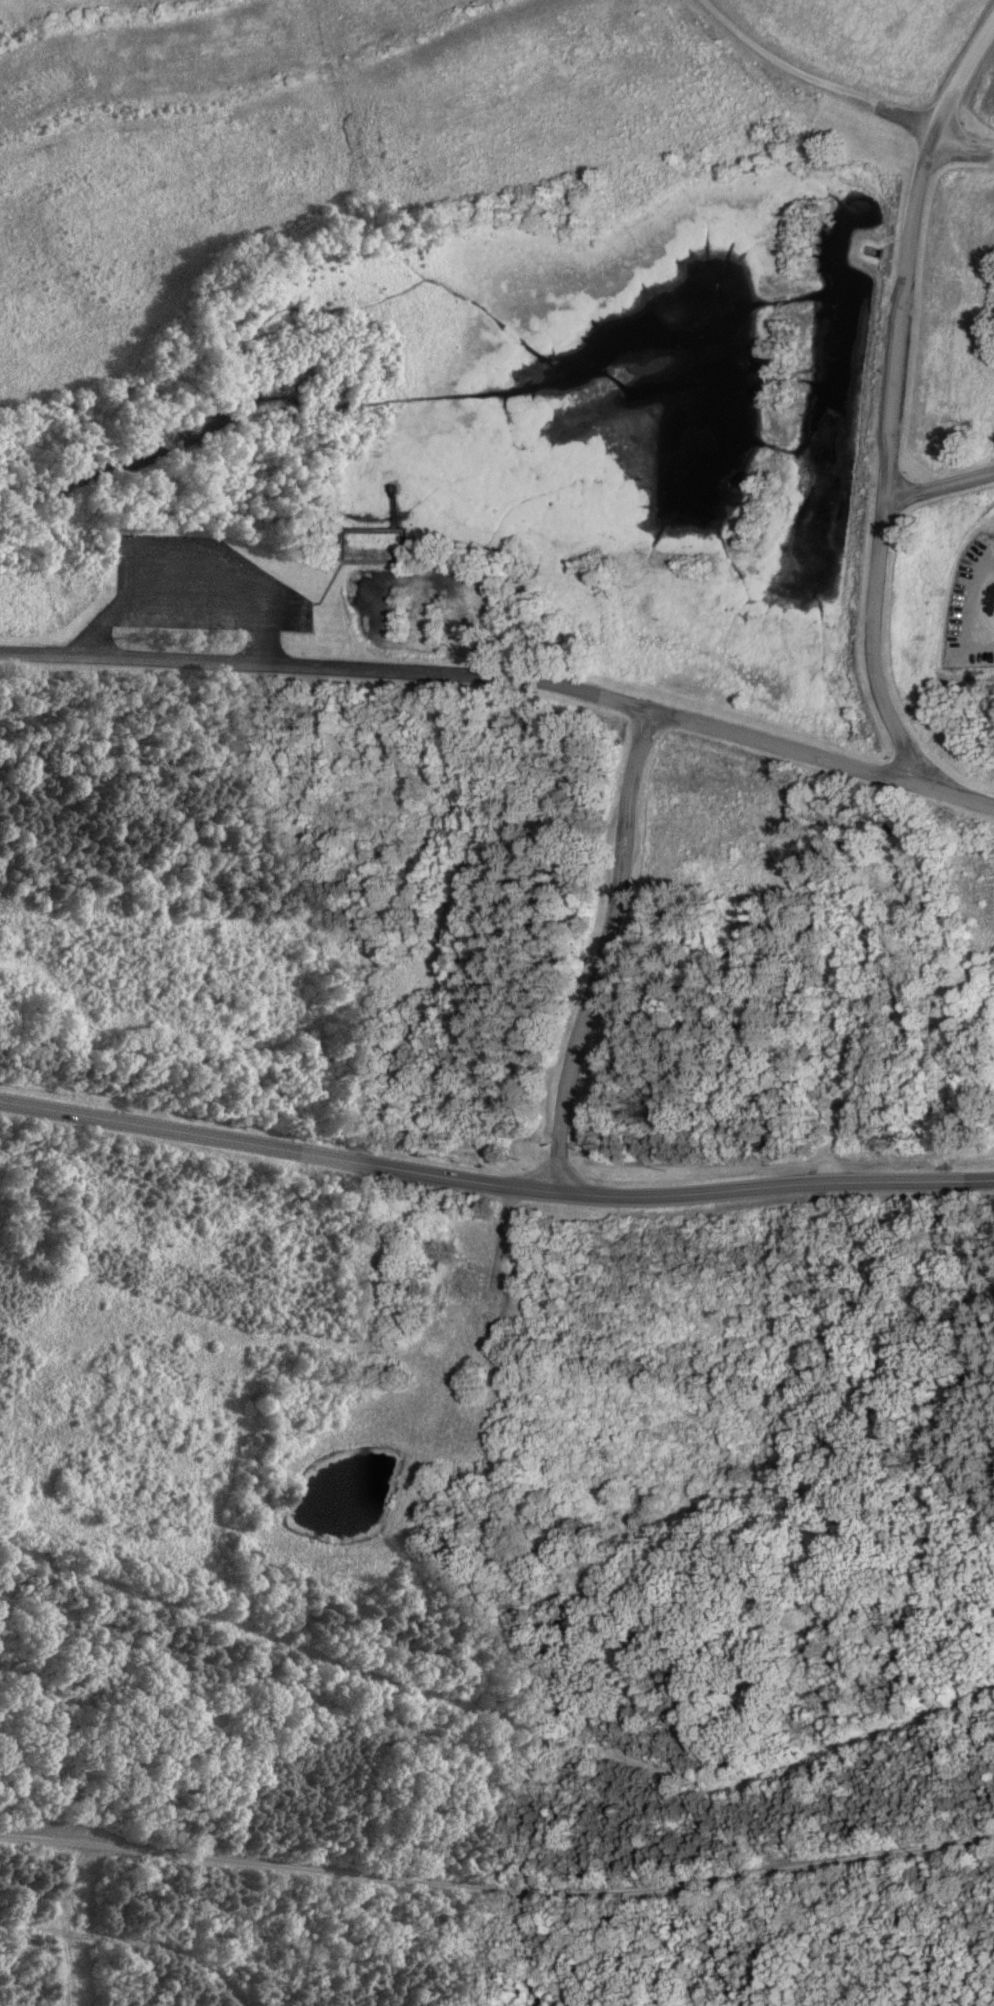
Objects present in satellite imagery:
road: (961, 71)
road: (812, 78)
road: (964, 144)
road: (903, 311)
road: (940, 483)
pier: (394, 508)
pier: (356, 528)
pier: (386, 559)
dam: (851, 583)
parking lot: (198, 584)
road: (313, 602)
road: (189, 604)
road: (872, 641)
road: (461, 673)
road: (951, 792)
road: (605, 949)
road: (494, 1183)
road: (497, 1715)
road: (497, 1887)
road: (135, 1936)

